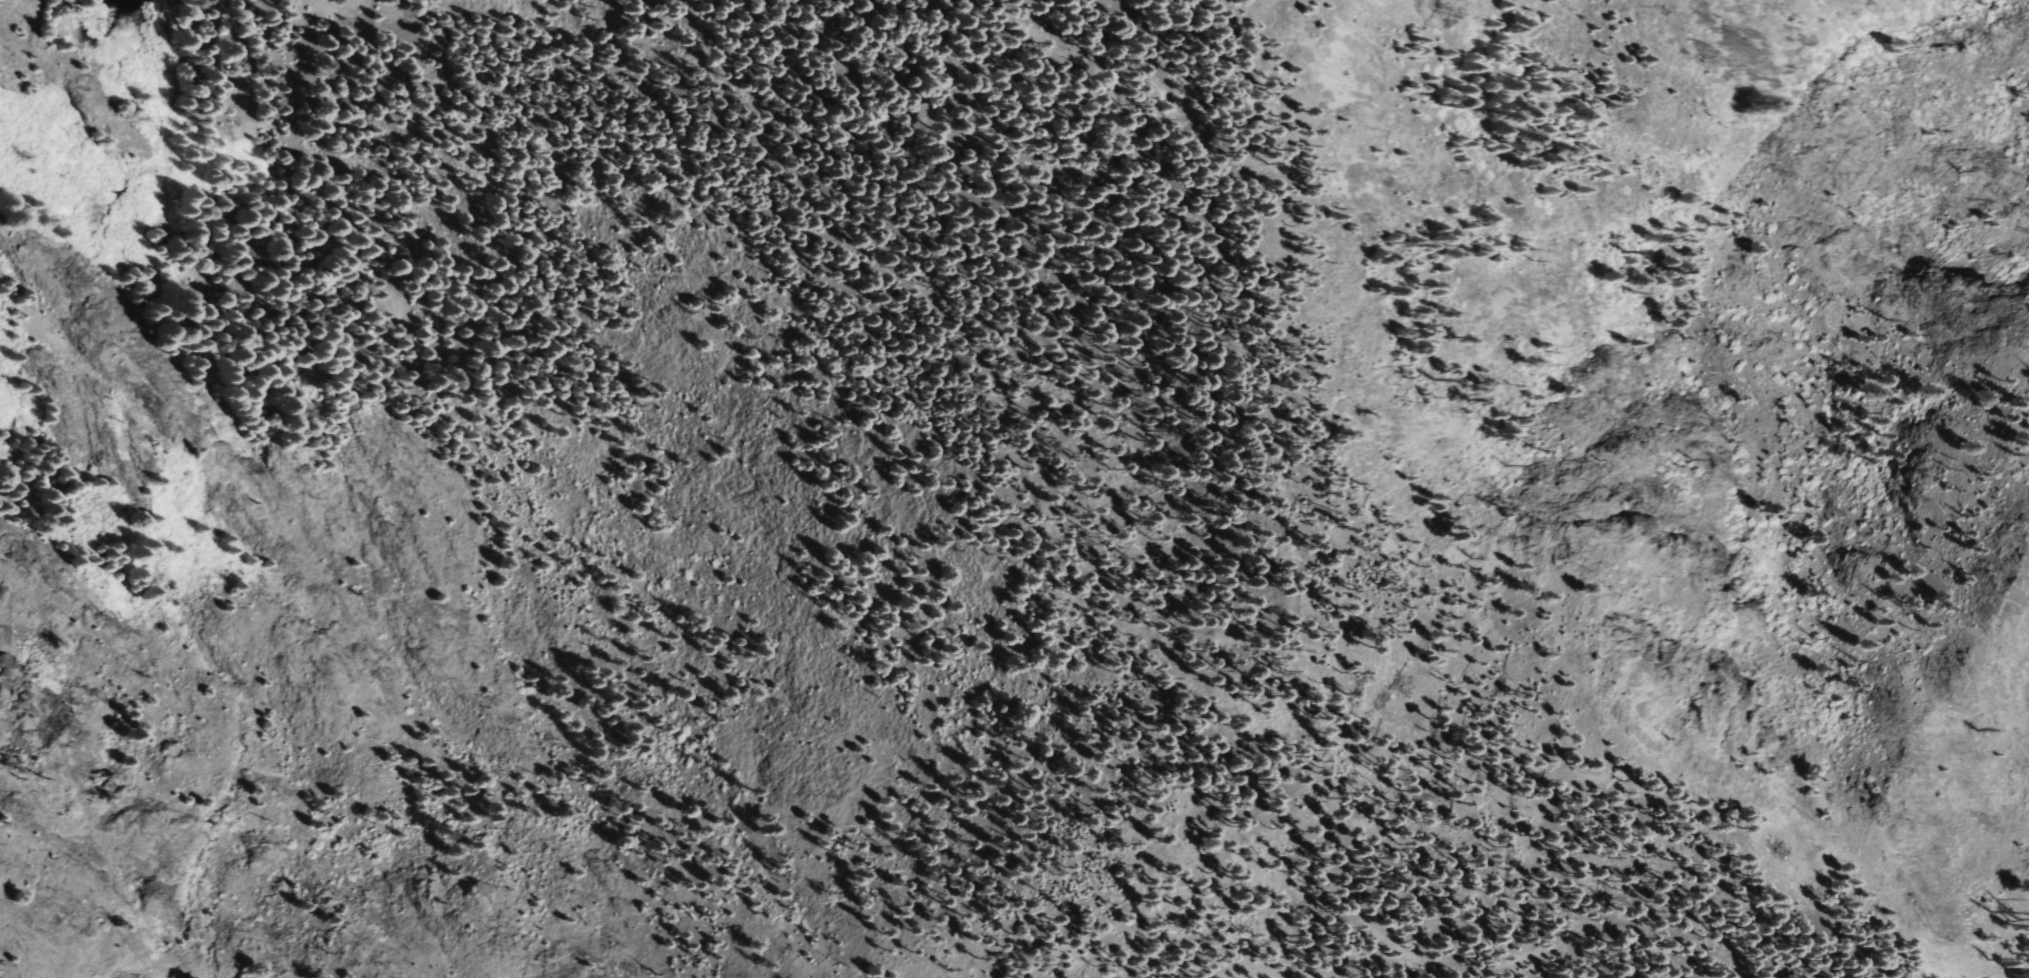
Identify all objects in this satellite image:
road: (999, 160)
road: (984, 389)
road: (1283, 389)
road: (1345, 831)
road: (608, 860)
road: (1690, 977)

